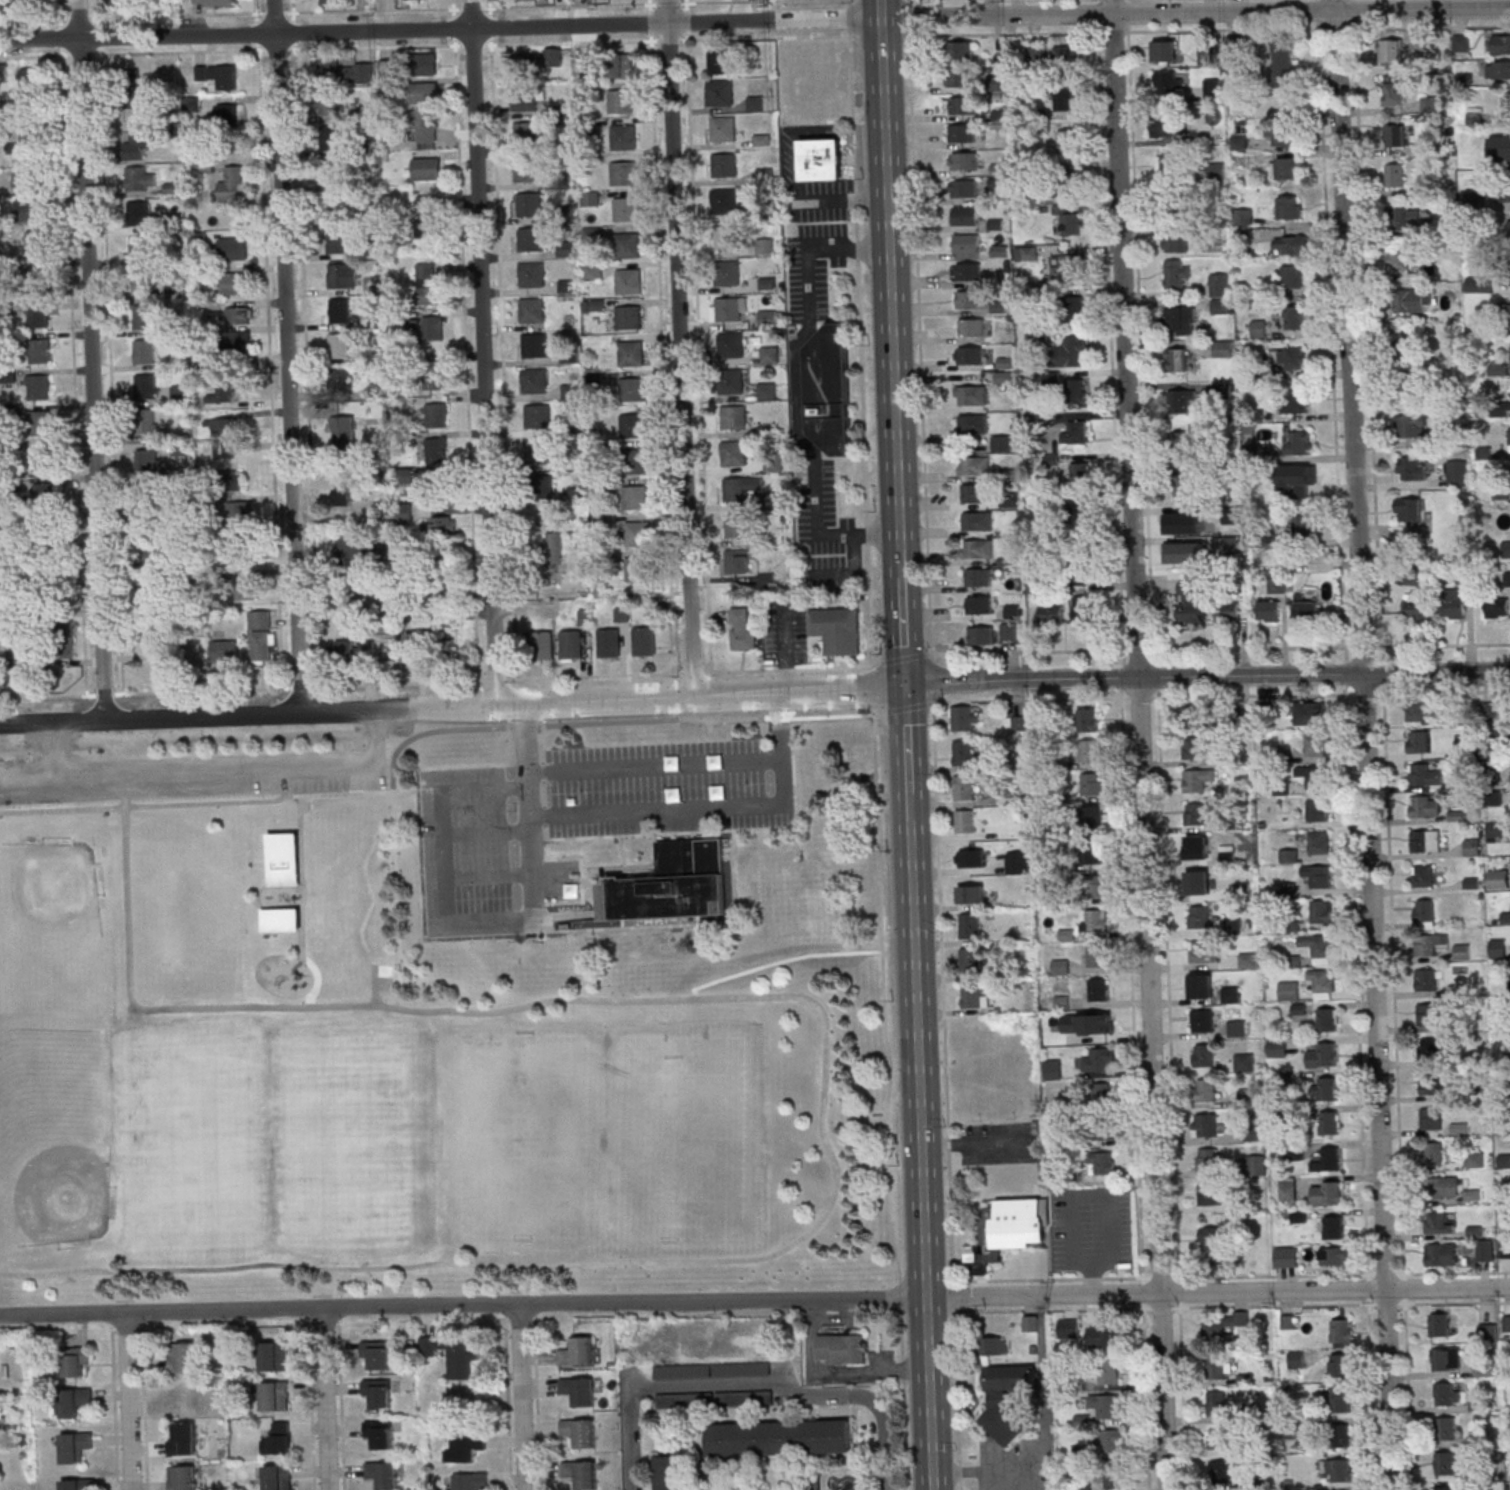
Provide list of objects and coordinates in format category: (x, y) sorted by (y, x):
building: (332, 1)
building: (213, 2)
building: (29, 4)
road: (882, 9)
road: (59, 12)
road: (256, 12)
road: (1196, 12)
road: (177, 14)
road: (34, 18)
road: (441, 28)
building: (1462, 43)
building: (1500, 45)
building: (961, 50)
building: (1165, 51)
building: (1393, 51)
building: (1207, 54)
road: (35, 55)
building: (1065, 56)
building: (542, 58)
building: (720, 61)
building: (426, 64)
building: (1284, 64)
building: (621, 65)
building: (1498, 70)
building: (347, 71)
building: (219, 75)
building: (957, 77)
building: (27, 79)
building: (820, 81)
building: (1169, 82)
building: (131, 88)
building: (720, 92)
building: (423, 93)
building: (1393, 94)
building: (1065, 98)
building: (524, 100)
building: (620, 101)
building: (193, 102)
building: (330, 105)
building: (963, 105)
building: (1430, 105)
building: (1507, 106)
building: (227, 115)
building: (1165, 125)
building: (424, 126)
building: (723, 128)
building: (527, 133)
building: (962, 133)
building: (1281, 135)
building: (1395, 135)
building: (624, 136)
building: (330, 137)
building: (1070, 141)
building: (24, 143)
building: (137, 144)
building: (1507, 148)
building: (822, 159)
building: (963, 160)
building: (725, 164)
building: (1167, 164)
building: (203, 165)
building: (426, 168)
building: (1220, 168)
building: (1286, 168)
building: (527, 171)
building: (334, 172)
building: (623, 173)
building: (1395, 175)
building: (140, 179)
building: (1069, 180)
building: (26, 182)
building: (231, 184)
building: (964, 188)
building: (1503, 191)
building: (590, 199)
building: (724, 200)
building: (529, 204)
building: (1176, 204)
building: (335, 206)
building: (1289, 207)
building: (29, 209)
building: (626, 209)
building: (139, 213)
building: (965, 215)
building: (427, 216)
building: (1404, 218)
building: (1071, 222)
building: (591, 235)
building: (1506, 235)
building: (724, 237)
building: (531, 239)
building: (338, 241)
building: (35, 243)
building: (967, 243)
building: (1176, 243)
building: (627, 244)
building: (1292, 244)
building: (766, 246)
building: (142, 248)
building: (233, 248)
building: (1399, 259)
building: (1064, 268)
building: (968, 271)
building: (593, 272)
building: (727, 273)
building: (1177, 273)
building: (532, 274)
building: (342, 275)
building: (1292, 275)
building: (40, 276)
building: (1505, 277)
building: (143, 281)
building: (629, 281)
road: (892, 282)
building: (233, 283)
building: (371, 284)
building: (1479, 284)
building: (428, 285)
building: (1220, 285)
building: (968, 299)
building: (1413, 300)
building: (732, 308)
building: (1072, 308)
building: (340, 310)
building: (532, 310)
building: (238, 314)
building: (38, 315)
building: (629, 317)
building: (1294, 317)
building: (146, 318)
building: (768, 318)
building: (1180, 321)
building: (428, 326)
building: (972, 327)
building: (1258, 329)
road: (1349, 337)
building: (241, 340)
building: (731, 344)
building: (341, 345)
building: (534, 345)
building: (1408, 345)
road: (681, 348)
building: (1075, 349)
building: (39, 350)
building: (144, 351)
road: (485, 352)
building: (632, 353)
building: (770, 354)
building: (969, 355)
road: (288, 356)
building: (1292, 359)
road: (92, 360)
building: (1177, 360)
building: (1498, 368)
building: (216, 371)
building: (434, 375)
building: (534, 380)
building: (731, 381)
building: (339, 382)
building: (37, 386)
building: (146, 386)
road: (862, 386)
building: (632, 389)
building: (830, 389)
building: (767, 390)
building: (1075, 391)
building: (179, 392)
road: (801, 393)
building: (222, 394)
building: (972, 395)
building: (1182, 401)
building: (1295, 401)
building: (1500, 409)
building: (435, 415)
building: (538, 416)
building: (733, 417)
building: (39, 422)
building: (149, 422)
building: (973, 424)
building: (633, 425)
building: (1412, 425)
building: (221, 426)
building: (344, 432)
building: (1076, 433)
building: (1509, 438)
building: (1002, 442)
building: (1299, 442)
building: (1182, 445)
building: (180, 448)
building: (225, 448)
building: (436, 449)
building: (537, 451)
building: (733, 453)
building: (42, 459)
building: (147, 460)
building: (638, 460)
building: (975, 465)
building: (1412, 468)
building: (1081, 473)
building: (1458, 473)
building: (405, 475)
building: (1302, 482)
building: (435, 484)
building: (1187, 484)
building: (540, 486)
building: (742, 488)
building: (43, 490)
building: (572, 493)
building: (974, 493)
building: (343, 496)
building: (635, 497)
building: (1081, 511)
building: (403, 512)
building: (1410, 513)
building: (240, 514)
building: (978, 520)
building: (444, 525)
building: (738, 525)
building: (1303, 526)
building: (1192, 529)
building: (149, 533)
building: (637, 533)
building: (351, 544)
building: (978, 548)
building: (1507, 549)
building: (553, 553)
building: (245, 556)
building: (741, 561)
road: (900, 561)
building: (635, 568)
building: (1080, 575)
building: (1412, 575)
building: (979, 577)
building: (150, 584)
building: (348, 585)
building: (1278, 585)
building: (245, 587)
building: (981, 604)
building: (1453, 604)
building: (1419, 606)
building: (1497, 607)
building: (1083, 608)
building: (1227, 610)
building: (1268, 610)
building: (1307, 611)
building: (1190, 612)
building: (1050, 613)
road: (902, 628)
building: (838, 629)
building: (742, 630)
building: (63, 634)
building: (260, 635)
building: (980, 635)
building: (159, 637)
building: (645, 640)
building: (609, 642)
building: (571, 644)
road: (1442, 644)
building: (542, 645)
road: (1364, 646)
building: (417, 647)
road: (1251, 648)
building: (368, 649)
building: (446, 650)
road: (1109, 650)
road: (1140, 650)
building: (226, 651)
building: (341, 651)
road: (1006, 651)
road: (901, 658)
road: (792, 668)
road: (1248, 677)
road: (944, 680)
road: (873, 682)
traffic signals: (904, 682)
road: (1443, 691)
road: (1365, 692)
road: (799, 693)
road: (1256, 695)
road: (1144, 697)
road: (1032, 699)
road: (910, 706)
building: (1489, 710)
road: (347, 711)
building: (1310, 713)
building: (1421, 713)
road: (840, 715)
road: (780, 716)
building: (1196, 716)
building: (965, 718)
road: (654, 719)
building: (1088, 719)
road: (524, 726)
road: (430, 731)
road: (906, 738)
building: (1418, 742)
road: (934, 744)
road: (1143, 744)
building: (1316, 744)
building: (1194, 746)
building: (1090, 750)
road: (50, 751)
building: (963, 752)
road: (543, 763)
road: (657, 769)
road: (214, 774)
building: (1313, 775)
building: (1424, 775)
parking lot: (192, 776)
building: (1197, 779)
building: (1092, 783)
building: (964, 787)
road: (357, 791)
road: (909, 806)
building: (1425, 806)
road: (715, 807)
building: (1317, 810)
building: (1197, 814)
road: (544, 815)
building: (1094, 815)
building: (966, 820)
parking lot: (583, 822)
road: (731, 830)
road: (546, 831)
road: (487, 834)
building: (1426, 840)
building: (1319, 842)
building: (1197, 847)
building: (1471, 847)
building: (1094, 852)
building: (1227, 853)
building: (1289, 855)
building: (971, 859)
building: (285, 861)
building: (1004, 861)
road: (620, 867)
building: (1318, 875)
building: (1423, 875)
road: (582, 878)
road: (304, 879)
road: (490, 879)
building: (1498, 879)
building: (1200, 882)
building: (1094, 886)
building: (673, 887)
road: (379, 893)
building: (972, 894)
building: (1321, 912)
building: (1424, 913)
building: (1199, 916)
building: (1096, 920)
park: (186, 921)
building: (282, 922)
road: (488, 926)
building: (970, 926)
park: (52, 933)
building: (1428, 944)
building: (1319, 947)
building: (1498, 948)
building: (1205, 951)
building: (1461, 951)
building: (1096, 955)
building: (971, 960)
building: (1061, 966)
building: (1426, 979)
building: (1322, 983)
building: (1203, 987)
building: (1099, 989)
building: (1288, 990)
building: (974, 996)
building: (1431, 1014)
building: (1327, 1019)
building: (1203, 1020)
building: (1100, 1024)
building: (1277, 1047)
building: (1429, 1048)
park: (399, 1051)
building: (1323, 1055)
building: (1204, 1056)
building: (1099, 1060)
building: (1244, 1062)
road: (1379, 1082)
building: (1434, 1084)
building: (1327, 1088)
building: (1205, 1091)
road: (888, 1094)
building: (1101, 1094)
building: (1245, 1096)
building: (1431, 1118)
building: (1329, 1122)
building: (1205, 1125)
building: (1102, 1130)
park: (55, 1138)
park: (690, 1139)
park: (523, 1140)
park: (360, 1143)
park: (197, 1144)
road: (970, 1144)
building: (1435, 1153)
road: (922, 1154)
building: (1207, 1159)
building: (1474, 1159)
building: (1327, 1160)
building: (1102, 1162)
building: (1445, 1187)
building: (1289, 1188)
building: (1209, 1193)
building: (1329, 1193)
building: (1437, 1223)
building: (1332, 1227)
building: (1013, 1231)
building: (1210, 1238)
building: (1485, 1250)
building: (1441, 1254)
building: (1286, 1256)
building: (1334, 1256)
road: (1231, 1275)
road: (1218, 1291)
road: (1229, 1305)
road: (464, 1307)
road: (812, 1309)
road: (839, 1318)
building: (1507, 1323)
building: (1440, 1325)
building: (1222, 1326)
building: (1341, 1330)
building: (1107, 1337)
road: (812, 1339)
building: (994, 1345)
building: (843, 1348)
building: (577, 1351)
building: (377, 1353)
building: (452, 1354)
building: (275, 1356)
building: (183, 1357)
building: (1296, 1359)
building: (1446, 1359)
building: (76, 1360)
building: (1341, 1365)
road: (869, 1367)
building: (1483, 1368)
building: (742, 1369)
building: (1218, 1369)
building: (682, 1371)
building: (1109, 1373)
road: (750, 1381)
building: (578, 1390)
building: (378, 1392)
building: (1447, 1394)
building: (275, 1396)
building: (744, 1397)
building: (182, 1398)
road: (526, 1398)
road: (327, 1399)
building: (76, 1400)
building: (685, 1400)
building: (1340, 1400)
road: (130, 1402)
building: (1009, 1403)
building: (1216, 1403)
building: (1106, 1406)
building: (1447, 1428)
building: (580, 1432)
building: (380, 1433)
road: (1046, 1434)
building: (780, 1436)
building: (1340, 1436)
building: (1221, 1437)
building: (278, 1439)
building: (184, 1440)
building: (1109, 1440)
building: (76, 1446)
building: (465, 1447)
building: (1445, 1463)
building: (1339, 1470)
building: (1221, 1471)
building: (673, 1472)
building: (581, 1473)
building: (382, 1474)
building: (1113, 1476)
building: (278, 1477)
building: (183, 1478)
road: (1036, 1479)
road: (998, 1480)
building: (470, 1481)
building: (77, 1484)
building: (1450, 1487)

